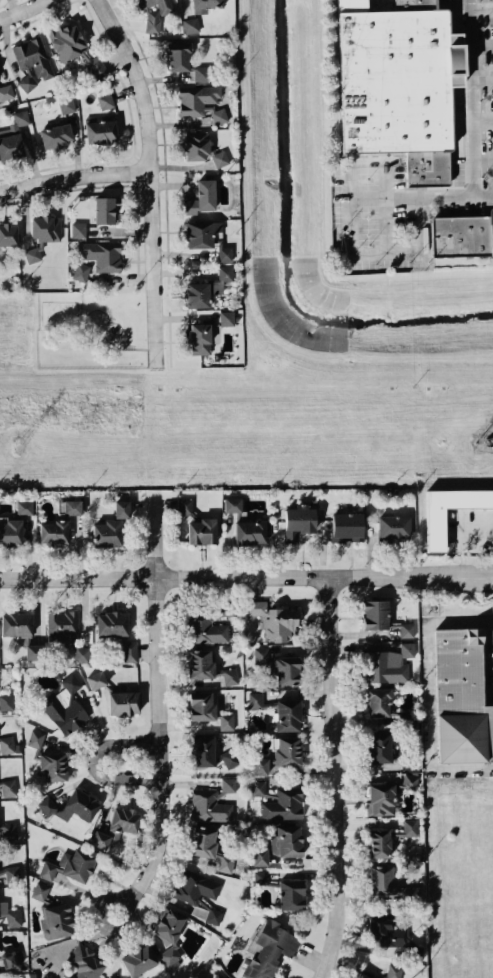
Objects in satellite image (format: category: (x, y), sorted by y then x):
building: (208, 3)
road: (21, 9)
road: (481, 9)
building: (153, 13)
building: (191, 24)
road: (481, 45)
building: (75, 49)
building: (178, 56)
building: (32, 62)
building: (202, 73)
road: (482, 81)
building: (398, 83)
building: (6, 92)
road: (471, 97)
building: (197, 99)
building: (105, 100)
building: (66, 105)
building: (217, 113)
road: (482, 119)
building: (101, 131)
building: (55, 135)
building: (13, 137)
building: (201, 147)
road: (483, 156)
road: (71, 173)
road: (145, 176)
building: (202, 197)
road: (421, 197)
building: (105, 209)
building: (46, 228)
building: (78, 229)
building: (202, 233)
building: (9, 234)
building: (462, 234)
river: (286, 252)
building: (32, 254)
building: (225, 254)
building: (102, 258)
building: (81, 271)
building: (207, 288)
building: (227, 317)
building: (200, 338)
power tower: (478, 442)
power tower: (17, 445)
building: (233, 504)
building: (185, 506)
building: (24, 507)
building: (122, 509)
building: (299, 522)
building: (60, 523)
building: (348, 527)
building: (394, 527)
building: (437, 528)
building: (202, 531)
building: (11, 532)
building: (250, 532)
building: (107, 533)
road: (480, 535)
road: (246, 574)
building: (376, 614)
building: (275, 619)
building: (16, 624)
building: (210, 624)
building: (61, 625)
building: (407, 629)
building: (117, 632)
building: (33, 651)
building: (81, 653)
building: (389, 664)
building: (208, 667)
building: (279, 667)
building: (95, 679)
road: (427, 696)
building: (461, 697)
building: (255, 700)
building: (6, 701)
building: (378, 701)
building: (124, 702)
building: (202, 705)
building: (65, 706)
road: (163, 710)
building: (288, 715)
building: (227, 721)
building: (36, 738)
building: (7, 744)
building: (379, 746)
building: (202, 750)
building: (281, 756)
building: (228, 757)
building: (53, 762)
road: (95, 762)
road: (337, 776)
building: (410, 780)
building: (229, 784)
building: (8, 787)
building: (257, 788)
building: (381, 795)
building: (284, 803)
building: (72, 806)
building: (209, 806)
building: (116, 826)
building: (407, 828)
building: (8, 830)
building: (287, 840)
building: (202, 841)
building: (380, 842)
building: (260, 856)
building: (224, 862)
building: (69, 866)
building: (260, 877)
building: (383, 880)
building: (41, 891)
building: (200, 893)
building: (291, 894)
building: (413, 894)
building: (10, 914)
building: (56, 920)
building: (385, 931)
building: (169, 933)
building: (271, 949)
building: (138, 959)
building: (11, 960)
building: (83, 962)
building: (394, 971)
building: (361, 975)
building: (382, 976)
building: (110, 977)

